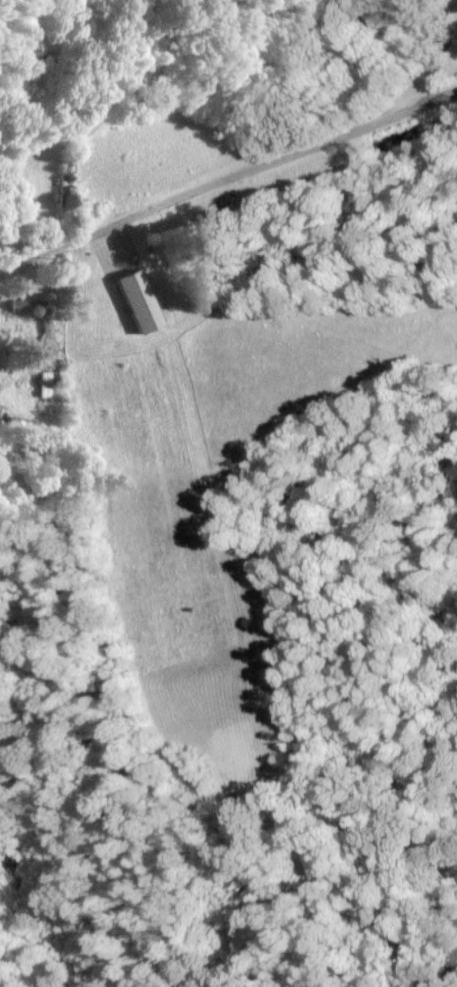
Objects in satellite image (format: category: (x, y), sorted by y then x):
road: (227, 160)
building: (135, 300)

